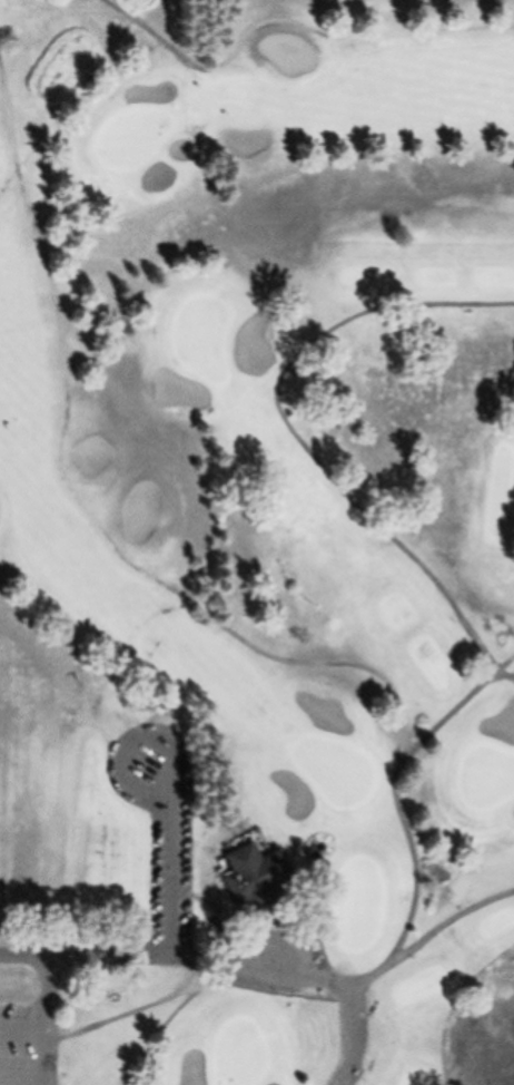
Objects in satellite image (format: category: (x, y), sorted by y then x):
road: (290, 22)
road: (299, 438)
road: (85, 508)
park: (261, 530)
road: (405, 823)
road: (176, 854)
parking lot: (174, 856)
building: (251, 878)
road: (91, 958)
road: (393, 961)
road: (303, 990)
road: (186, 994)
road: (47, 1008)
building: (307, 1014)
park: (49, 1022)
parking lot: (31, 1025)

